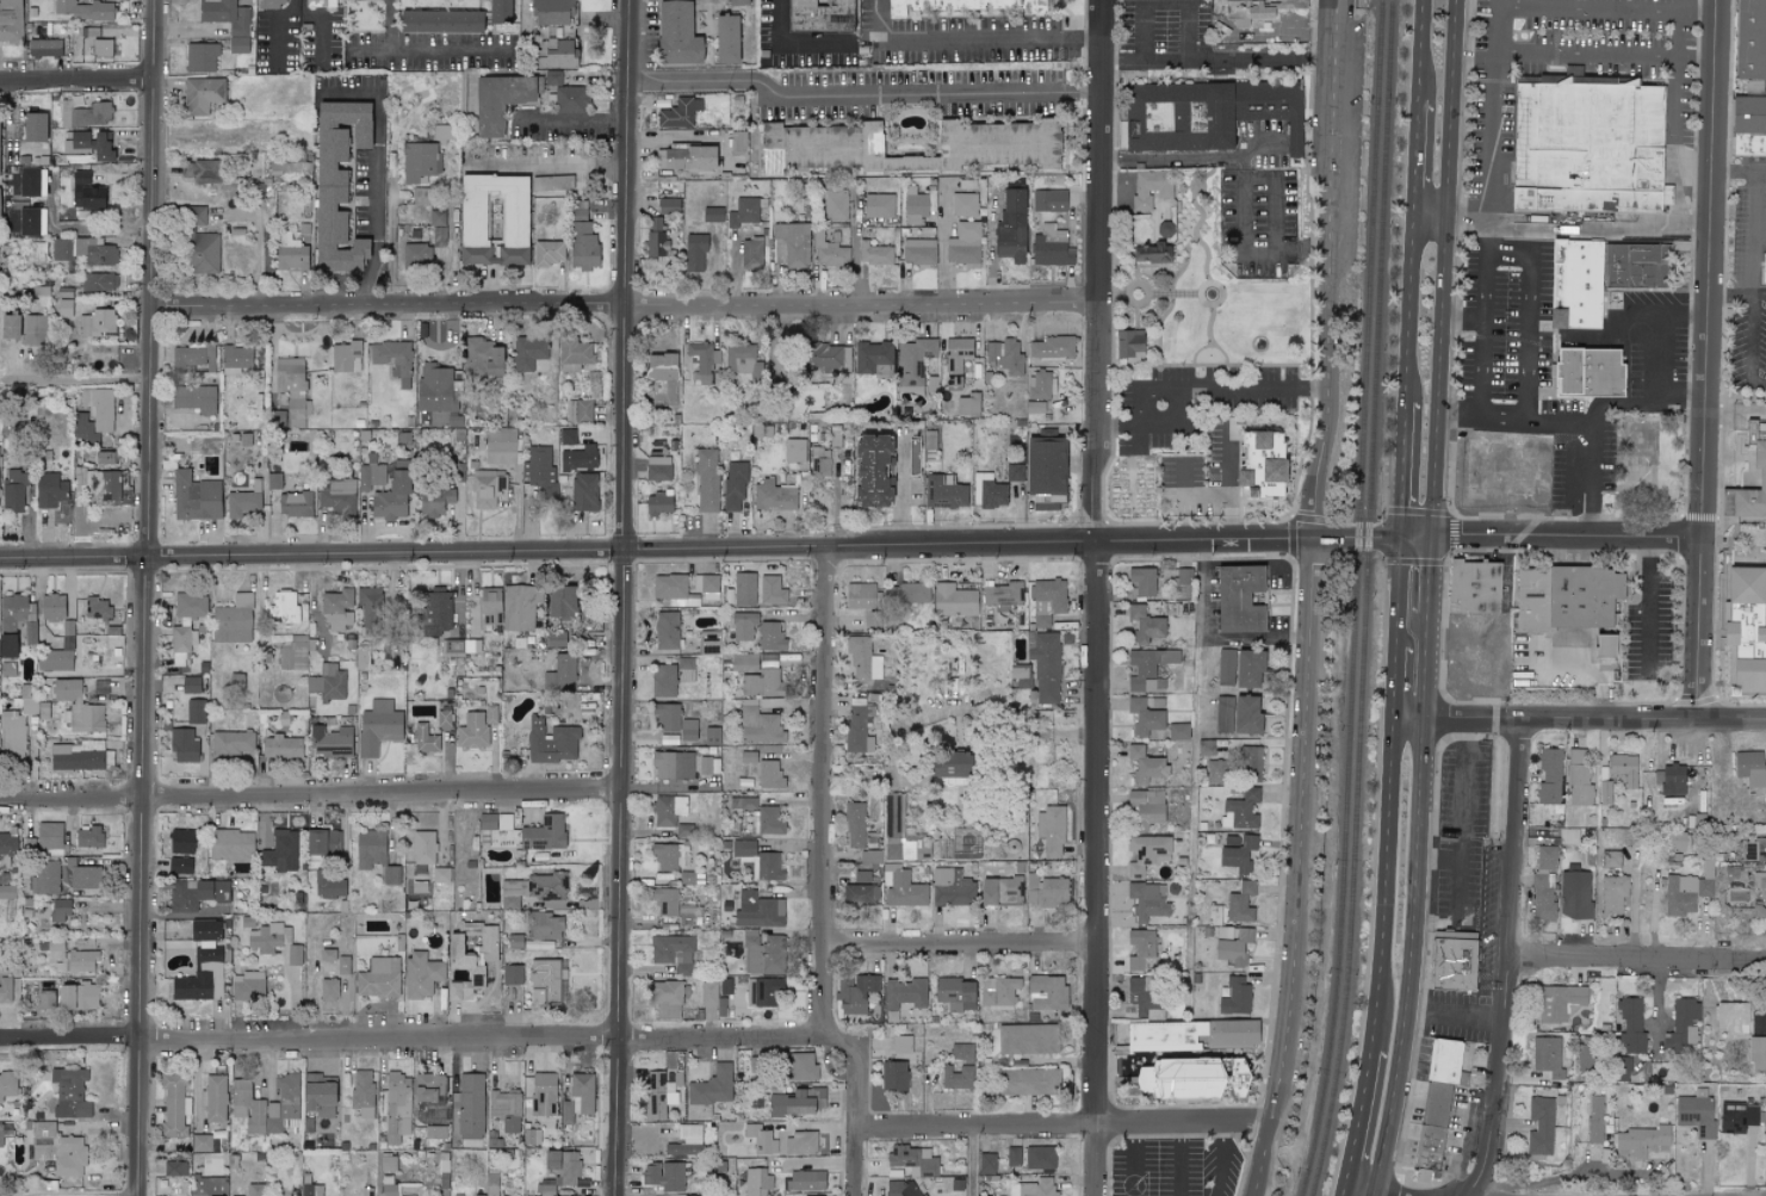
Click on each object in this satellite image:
building: (272, 2)
building: (320, 2)
building: (736, 2)
building: (961, 5)
road: (1165, 5)
building: (82, 10)
building: (1256, 10)
road: (1587, 11)
building: (498, 12)
building: (550, 12)
road: (1697, 14)
building: (818, 16)
building: (10, 20)
building: (228, 20)
building: (439, 20)
road: (322, 29)
road: (277, 30)
road: (1277, 32)
building: (675, 33)
building: (725, 39)
building: (1750, 39)
road: (965, 42)
road: (791, 45)
building: (44, 48)
building: (100, 48)
road: (1420, 50)
road: (370, 51)
road: (427, 51)
building: (553, 52)
road: (1474, 54)
building: (200, 57)
road: (1586, 57)
road: (1214, 60)
road: (1696, 61)
building: (553, 78)
road: (680, 82)
road: (76, 83)
road: (1076, 93)
road: (892, 94)
building: (202, 95)
building: (500, 100)
building: (571, 100)
building: (678, 113)
building: (1206, 113)
building: (86, 114)
road: (1675, 114)
building: (1748, 114)
road: (571, 119)
building: (32, 126)
building: (76, 142)
road: (1259, 143)
building: (1748, 144)
building: (972, 145)
building: (101, 147)
building: (808, 147)
building: (1586, 147)
building: (687, 157)
building: (419, 161)
road: (1415, 162)
road: (546, 168)
building: (202, 171)
road: (378, 172)
building: (29, 181)
building: (335, 184)
building: (1151, 187)
building: (85, 192)
building: (1048, 200)
building: (668, 204)
building: (836, 204)
building: (963, 204)
road: (1241, 204)
building: (879, 205)
building: (915, 206)
building: (743, 211)
road: (1755, 211)
building: (711, 213)
building: (193, 216)
building: (492, 219)
building: (29, 221)
building: (655, 224)
road: (1430, 224)
building: (1010, 225)
road: (72, 229)
road: (1578, 229)
building: (581, 238)
building: (655, 243)
building: (963, 243)
building: (791, 244)
building: (1051, 247)
road: (1302, 247)
building: (83, 250)
building: (829, 252)
building: (918, 252)
building: (37, 253)
building: (202, 253)
building: (290, 253)
building: (549, 253)
building: (694, 253)
building: (750, 253)
building: (874, 253)
building: (1150, 253)
building: (416, 254)
building: (1635, 266)
building: (1762, 268)
road: (1444, 271)
building: (99, 281)
building: (1574, 284)
road: (1730, 296)
road: (1759, 298)
road: (621, 305)
building: (64, 308)
road: (1408, 314)
road: (1529, 314)
road: (1463, 321)
building: (98, 323)
road: (1483, 326)
building: (8, 327)
road: (1654, 327)
building: (32, 330)
building: (1128, 345)
building: (1051, 348)
road: (1750, 348)
building: (527, 353)
building: (574, 354)
building: (1005, 355)
building: (346, 357)
building: (481, 357)
building: (870, 357)
building: (193, 358)
building: (825, 358)
building: (235, 359)
building: (392, 359)
building: (958, 360)
building: (702, 361)
building: (741, 361)
building: (913, 361)
road: (1706, 361)
building: (659, 367)
building: (1586, 372)
road: (81, 380)
building: (1040, 385)
road: (1198, 388)
building: (293, 389)
building: (435, 389)
building: (194, 398)
building: (968, 405)
building: (1034, 407)
building: (578, 411)
building: (94, 416)
road: (1458, 417)
building: (278, 419)
road: (1155, 425)
building: (566, 436)
park: (1643, 444)
building: (500, 446)
building: (794, 450)
building: (578, 458)
building: (1258, 459)
building: (820, 461)
building: (657, 469)
building: (1045, 470)
building: (870, 471)
building: (1014, 472)
building: (541, 473)
road: (1401, 473)
building: (370, 475)
building: (1761, 478)
road: (1594, 481)
building: (706, 482)
building: (103, 484)
road: (1227, 484)
building: (733, 485)
building: (487, 488)
building: (49, 490)
building: (13, 491)
building: (989, 491)
building: (583, 492)
road: (900, 492)
building: (943, 492)
building: (336, 496)
building: (391, 496)
building: (773, 496)
building: (194, 497)
building: (434, 501)
road: (1184, 501)
building: (1725, 502)
building: (241, 503)
building: (658, 503)
building: (293, 504)
traffic signals: (1432, 543)
traffic signals: (1399, 544)
road: (851, 550)
road: (1254, 562)
road: (1430, 580)
building: (1141, 581)
building: (1181, 583)
building: (706, 585)
building: (669, 587)
building: (1474, 587)
building: (741, 590)
building: (772, 590)
building: (907, 594)
building: (1003, 595)
building: (861, 596)
road: (1396, 596)
road: (147, 597)
road: (624, 597)
road: (1091, 597)
road: (1310, 599)
railway: (1355, 599)
railway: (1364, 599)
building: (1564, 599)
building: (398, 600)
building: (1238, 600)
building: (954, 601)
building: (1046, 601)
building: (562, 602)
building: (372, 603)
building: (190, 606)
building: (489, 606)
building: (51, 608)
building: (284, 608)
building: (518, 608)
road: (1647, 608)
building: (95, 609)
building: (337, 609)
building: (435, 612)
building: (18, 616)
building: (872, 619)
building: (233, 620)
building: (1144, 625)
building: (743, 626)
building: (1743, 630)
building: (665, 631)
building: (770, 637)
road: (1209, 637)
building: (556, 639)
building: (182, 643)
building: (6, 646)
building: (1603, 646)
building: (457, 647)
building: (296, 652)
building: (57, 657)
building: (863, 659)
building: (744, 662)
building: (1045, 665)
building: (1239, 668)
building: (7, 669)
building: (686, 669)
building: (1148, 669)
road: (1579, 673)
building: (560, 674)
building: (762, 678)
building: (1021, 680)
building: (663, 681)
building: (328, 682)
building: (190, 684)
road: (1393, 686)
building: (33, 707)
building: (78, 707)
building: (194, 711)
building: (490, 714)
road: (936, 714)
building: (1223, 714)
building: (1246, 715)
building: (442, 718)
building: (665, 718)
building: (1144, 718)
road: (1578, 724)
building: (378, 726)
building: (760, 726)
building: (687, 730)
building: (472, 731)
building: (856, 731)
building: (1178, 732)
building: (12, 736)
building: (712, 736)
building: (425, 739)
building: (669, 739)
building: (330, 742)
building: (231, 743)
building: (551, 743)
building: (182, 746)
building: (281, 746)
building: (75, 757)
building: (748, 757)
building: (1250, 764)
building: (671, 766)
building: (705, 766)
building: (1145, 766)
building: (948, 768)
building: (1623, 768)
building: (1749, 768)
building: (1216, 773)
building: (769, 775)
building: (1549, 776)
building: (1578, 779)
building: (1671, 780)
road: (818, 793)
building: (1604, 793)
road: (310, 798)
building: (742, 804)
building: (1146, 807)
building: (667, 811)
building: (1240, 811)
building: (487, 822)
building: (766, 822)
building: (854, 825)
building: (893, 828)
parking lot: (1460, 830)
building: (1049, 831)
building: (49, 835)
building: (543, 836)
building: (88, 837)
building: (180, 842)
building: (1678, 842)
building: (322, 843)
building: (7, 844)
building: (965, 844)
building: (230, 845)
road: (1458, 845)
building: (422, 848)
building: (743, 848)
building: (370, 849)
building: (1755, 849)
building: (280, 851)
building: (1147, 853)
building: (1238, 855)
building: (667, 857)
building: (1545, 857)
building: (1610, 859)
road: (1437, 860)
building: (179, 866)
building: (769, 866)
building: (390, 875)
building: (440, 875)
building: (45, 876)
building: (862, 876)
building: (83, 878)
building: (1760, 884)
building: (329, 885)
building: (6, 887)
building: (545, 887)
building: (903, 887)
road: (1383, 887)
building: (952, 888)
building: (1000, 891)
building: (1046, 891)
building: (509, 893)
building: (196, 894)
building: (1574, 894)
building: (860, 896)
building: (1612, 896)
building: (1680, 896)
building: (1542, 899)
building: (664, 901)
building: (1147, 901)
building: (1240, 903)
road: (1412, 907)
building: (58, 911)
building: (757, 911)
building: (686, 915)
building: (543, 925)
building: (205, 930)
building: (286, 936)
building: (265, 938)
building: (514, 941)
road: (954, 943)
building: (488, 944)
building: (1233, 944)
building: (1139, 948)
building: (673, 953)
building: (763, 954)
building: (293, 955)
building: (328, 955)
building: (68, 958)
road: (1638, 959)
road: (1510, 960)
building: (1451, 962)
building: (342, 965)
building: (465, 967)
building: (421, 974)
building: (512, 975)
building: (379, 978)
building: (544, 981)
building: (247, 986)
building: (191, 987)
building: (5, 989)
building: (328, 990)
building: (998, 991)
building: (763, 992)
building: (708, 993)
building: (855, 993)
building: (1047, 993)
building: (953, 994)
building: (1146, 994)
building: (903, 996)
building: (78, 997)
building: (1234, 997)
building: (665, 999)
building: (45, 1000)
building: (1557, 1002)
road: (1455, 1014)
building: (1731, 1016)
building: (1630, 1025)
building: (1683, 1025)
building: (1189, 1035)
road: (718, 1037)
road: (309, 1039)
building: (1028, 1039)
building: (901, 1045)
building: (961, 1052)
building: (1756, 1053)
building: (1547, 1055)
building: (1445, 1061)
building: (800, 1067)
building: (1621, 1068)
building: (1765, 1071)
building: (892, 1076)
building: (956, 1077)
building: (1192, 1079)
building: (1028, 1082)
building: (7, 1085)
building: (428, 1086)
building: (712, 1086)
building: (582, 1090)
building: (69, 1092)
building: (659, 1092)
road: (860, 1092)
building: (361, 1093)
building: (541, 1093)
building: (317, 1095)
building: (213, 1098)
building: (797, 1102)
building: (397, 1103)
building: (247, 1105)
building: (284, 1105)
building: (470, 1105)
building: (506, 1109)
building: (1696, 1111)
building: (565, 1113)
building: (1737, 1116)
building: (1594, 1118)
road: (1356, 1123)
building: (1539, 1124)
building: (1432, 1126)
road: (1062, 1127)
building: (663, 1129)
building: (434, 1130)
building: (0, 1134)
building: (761, 1139)
building: (1641, 1139)
building: (686, 1140)
building: (202, 1142)
building: (800, 1144)
building: (56, 1148)
building: (1012, 1155)
building: (1040, 1157)
building: (913, 1159)
road: (1130, 1161)
road: (1178, 1161)
road: (1217, 1161)
road: (973, 1163)
building: (986, 1163)
building: (563, 1165)
building: (175, 1167)
building: (663, 1175)
building: (806, 1179)
building: (757, 1182)
building: (491, 1184)
building: (207, 1185)
building: (900, 1188)
building: (1033, 1188)
building: (255, 1189)
building: (311, 1189)
building: (389, 1190)
building: (366, 1191)
building: (814, 1195)

